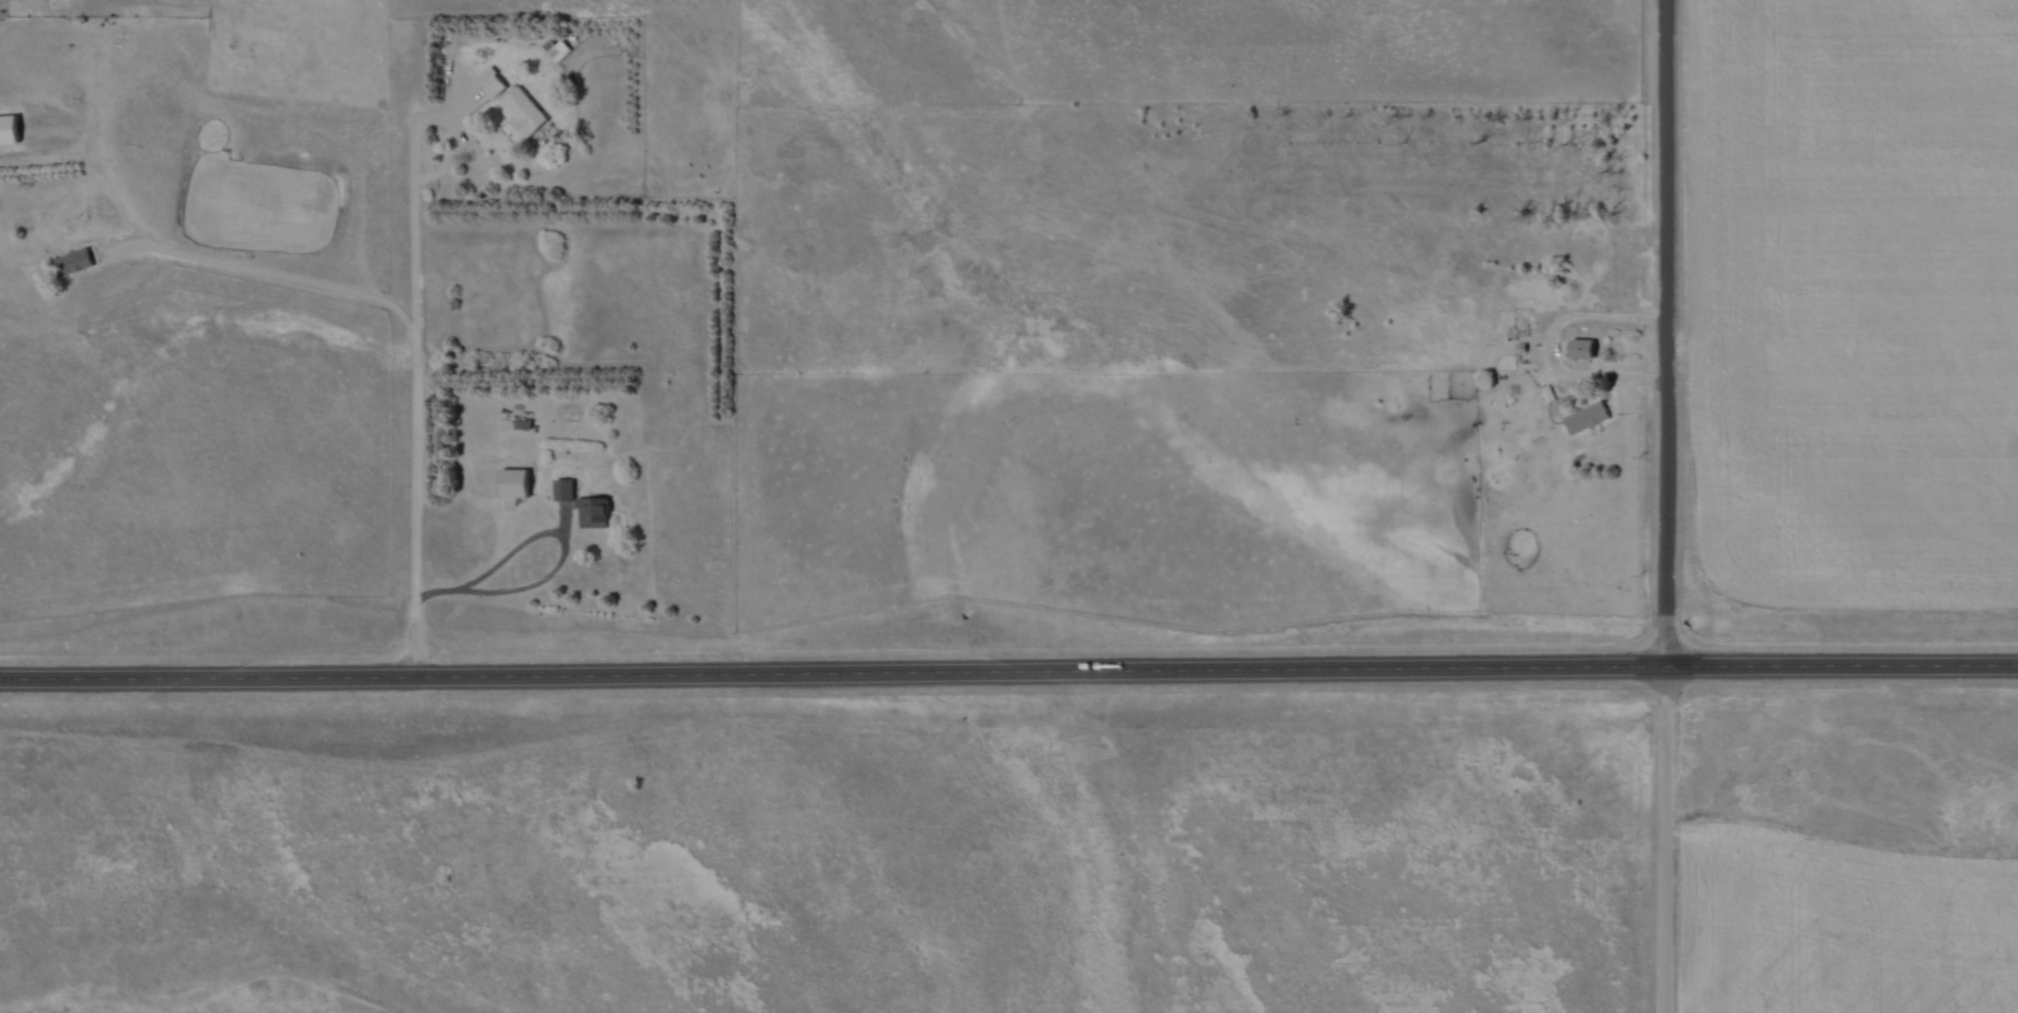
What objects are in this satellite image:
building: (553, 51)
building: (490, 83)
building: (524, 114)
road: (415, 208)
road: (59, 232)
building: (73, 262)
road: (1667, 330)
road: (1552, 343)
building: (1581, 349)
road: (417, 362)
building: (1587, 418)
building: (513, 487)
building: (564, 489)
building: (593, 512)
road: (558, 538)
road: (442, 590)
road: (1009, 668)
road: (1666, 836)

